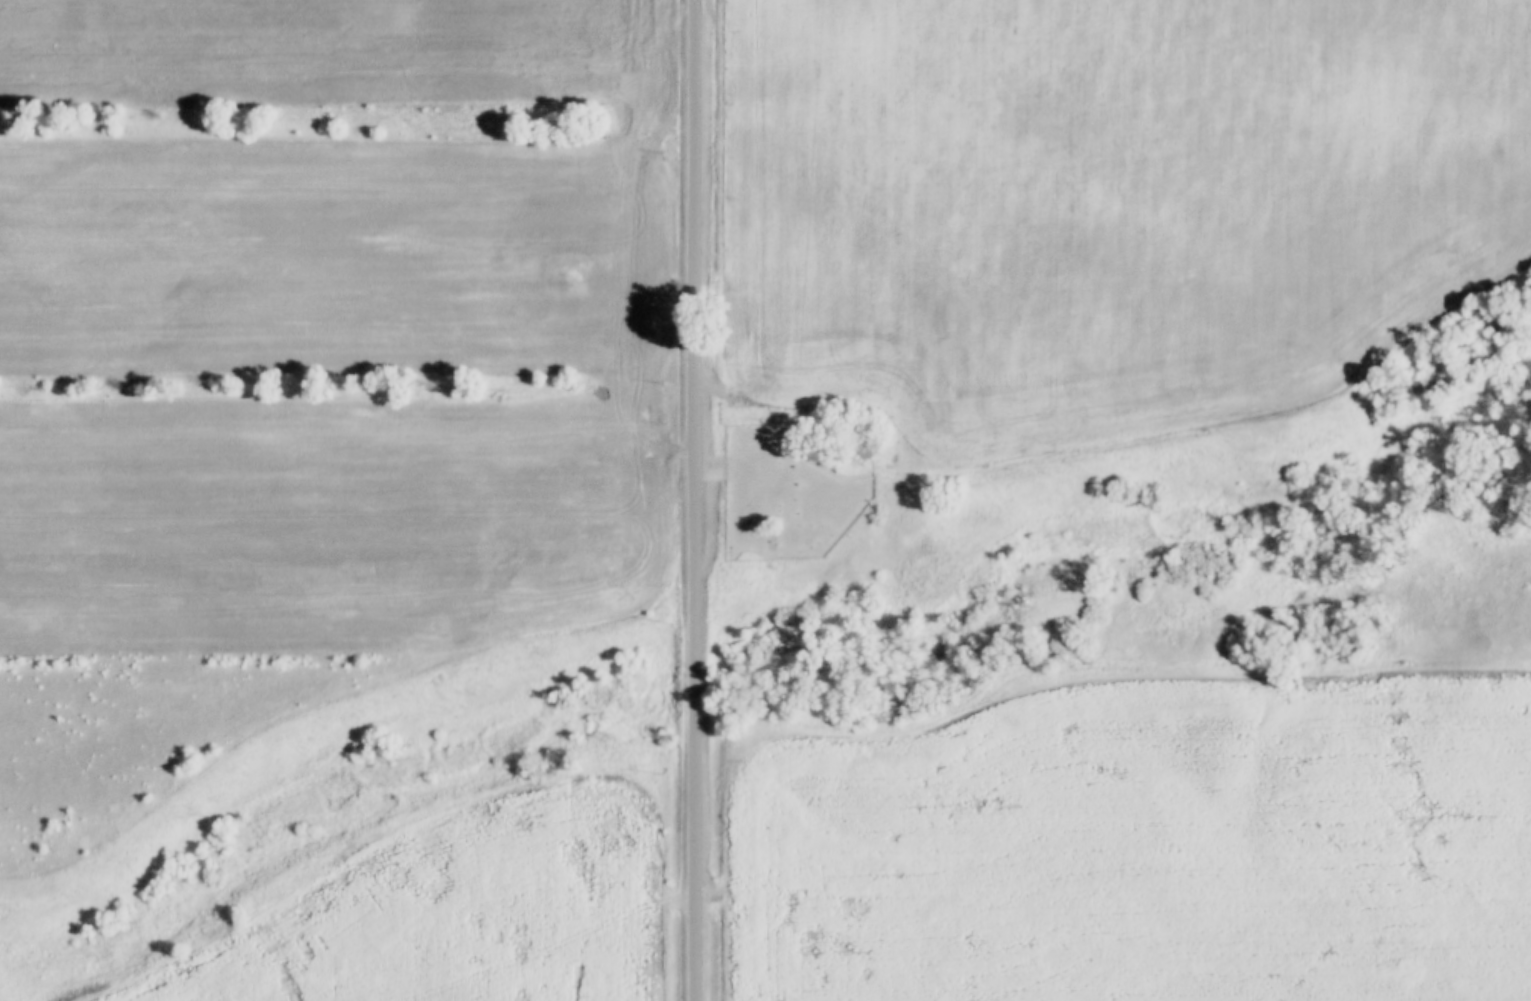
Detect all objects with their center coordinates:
park: (793, 485)
road: (696, 500)

